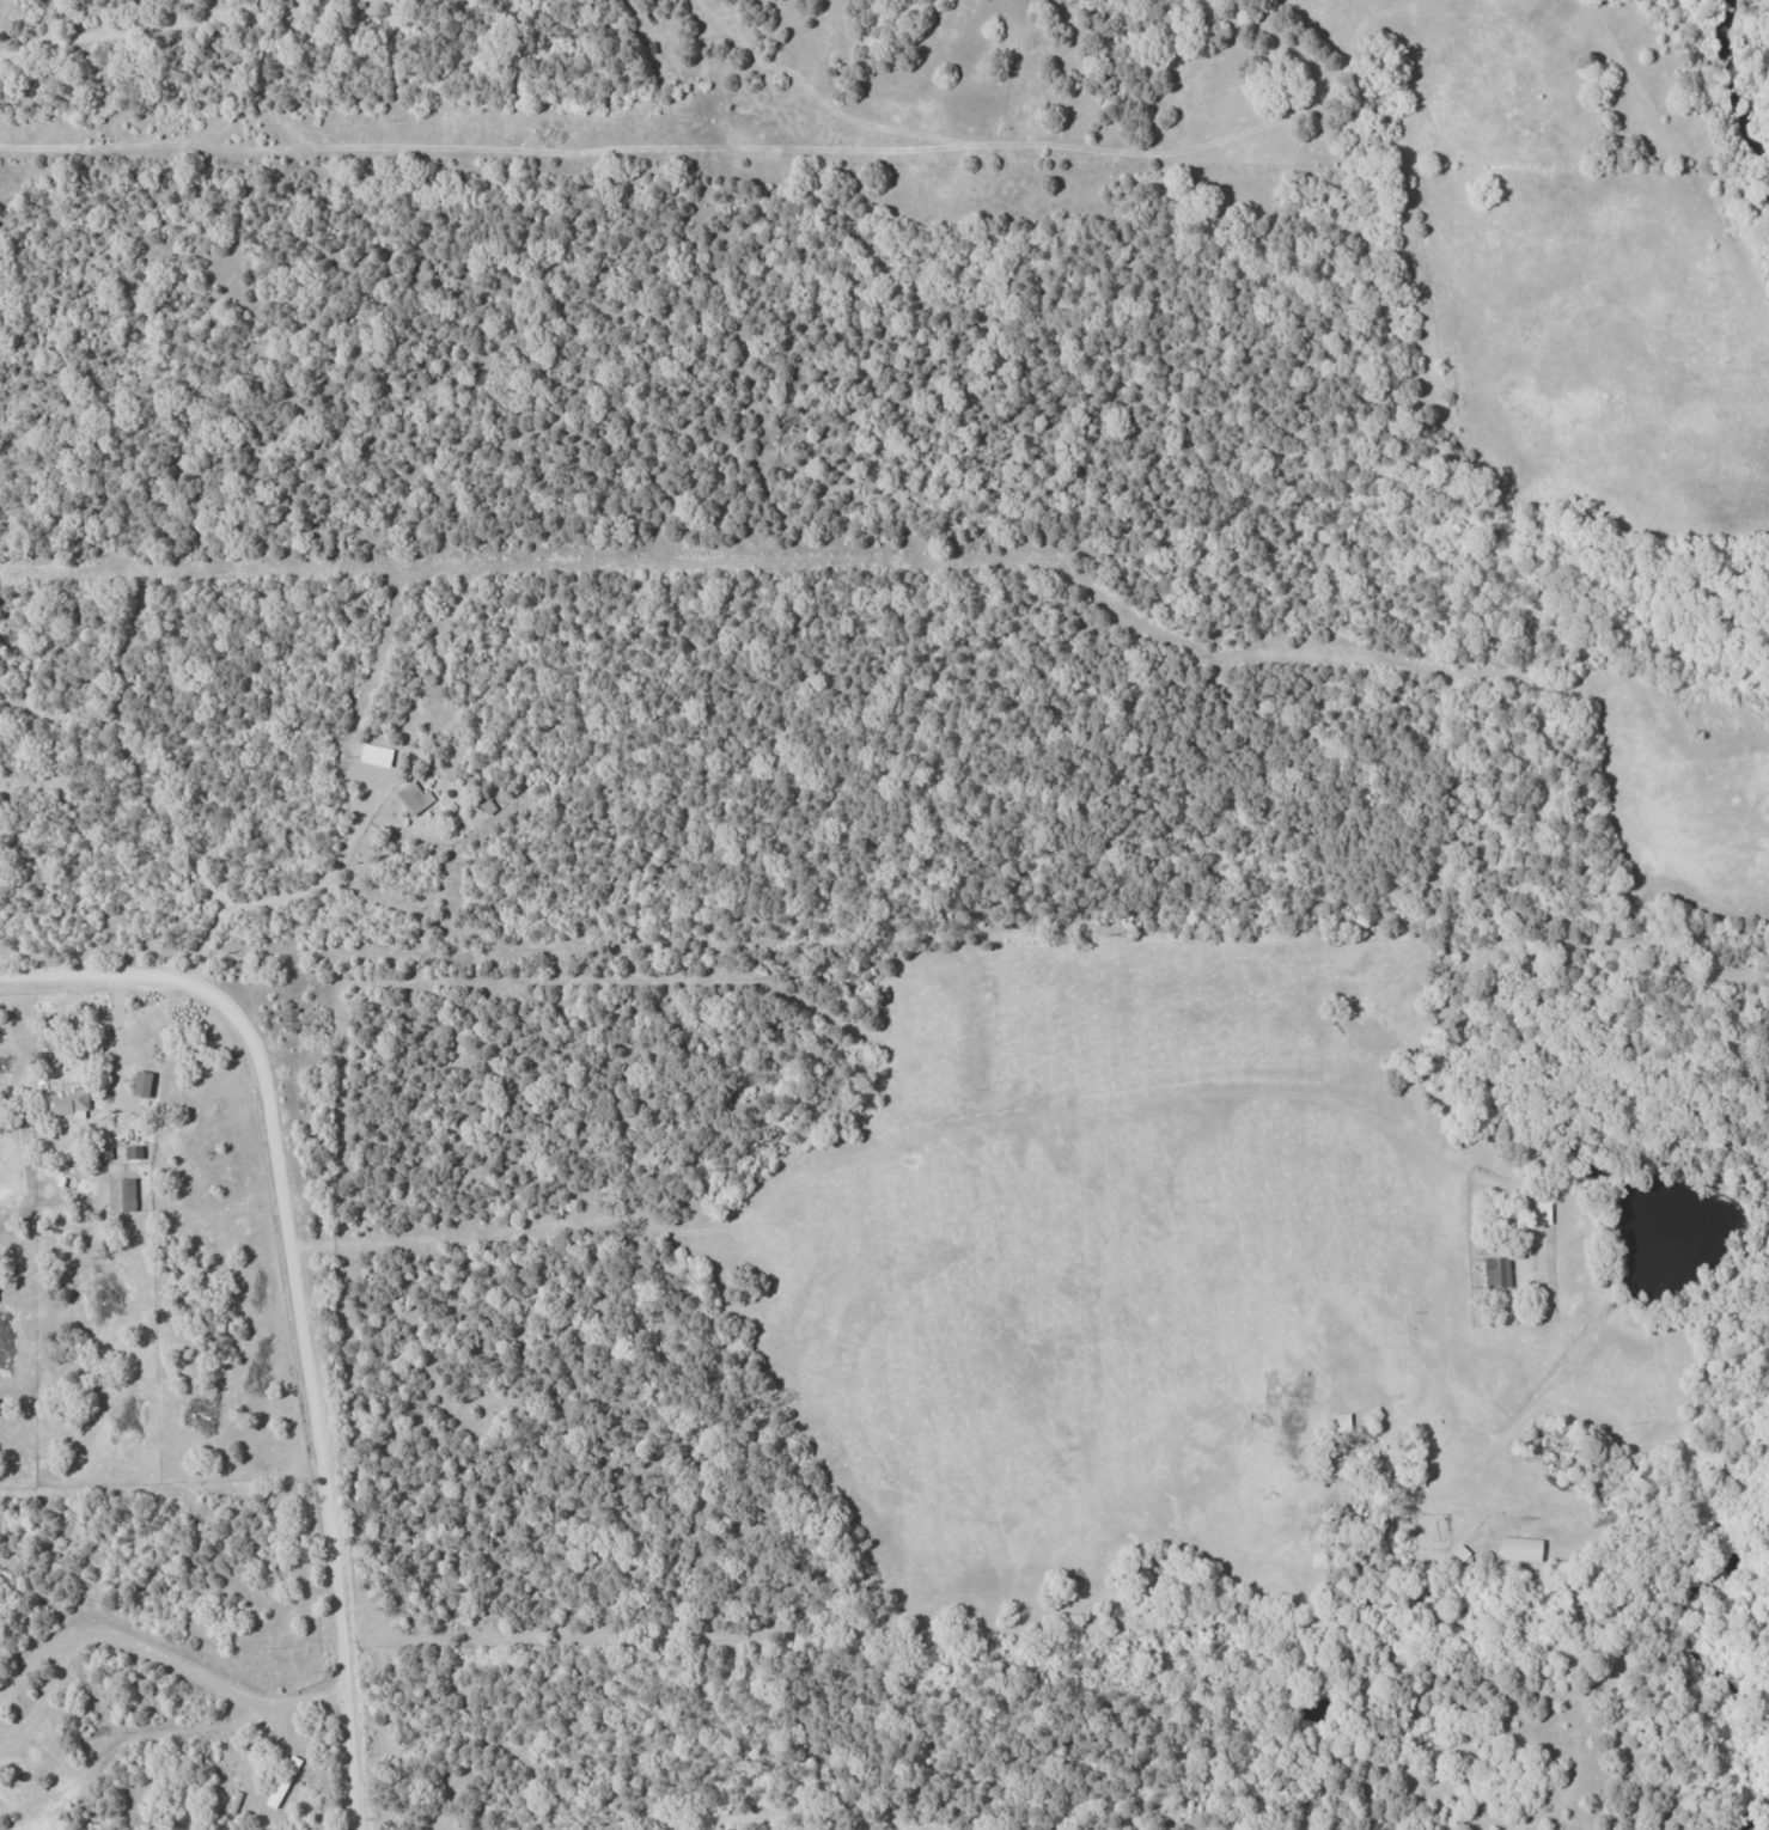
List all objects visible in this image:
road: (173, 26)
building: (414, 798)
road: (306, 889)
building: (140, 1084)
building: (65, 1103)
building: (104, 1153)
building: (133, 1153)
building: (121, 1195)
building: (1496, 1271)
road: (299, 1292)
building: (1519, 1549)
road: (31, 1667)
road: (207, 1684)
road: (42, 1701)
building: (282, 1782)

